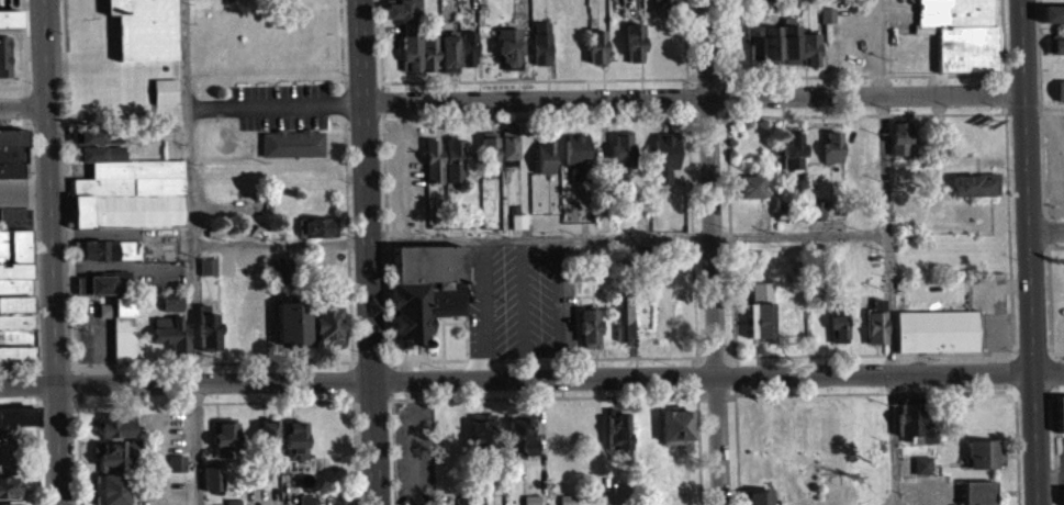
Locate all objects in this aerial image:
building: (404, 16)
building: (826, 23)
building: (1052, 23)
building: (10, 27)
building: (960, 40)
building: (634, 50)
building: (789, 50)
building: (540, 52)
building: (763, 52)
building: (1055, 53)
building: (596, 55)
building: (508, 56)
building: (467, 57)
building: (809, 58)
building: (428, 60)
building: (410, 61)
building: (447, 63)
building: (4, 65)
building: (131, 67)
road: (696, 98)
building: (1061, 100)
road: (22, 103)
road: (1046, 104)
building: (99, 145)
building: (898, 147)
building: (291, 151)
building: (831, 155)
building: (506, 157)
building: (620, 158)
building: (791, 160)
building: (11, 161)
building: (488, 161)
building: (575, 164)
building: (542, 165)
building: (664, 165)
road: (884, 165)
building: (452, 168)
building: (433, 169)
building: (974, 193)
building: (747, 195)
building: (126, 200)
building: (816, 218)
building: (14, 227)
road: (1048, 228)
building: (517, 229)
road: (867, 232)
building: (316, 235)
road: (1032, 251)
road: (49, 252)
road: (369, 252)
road: (712, 252)
building: (105, 258)
building: (206, 274)
building: (280, 277)
building: (100, 293)
building: (424, 299)
building: (14, 305)
building: (171, 313)
building: (760, 321)
building: (623, 326)
building: (119, 333)
building: (291, 333)
building: (327, 334)
building: (875, 334)
building: (589, 337)
building: (838, 337)
building: (936, 339)
building: (169, 341)
building: (208, 341)
road: (26, 362)
road: (559, 379)
road: (26, 382)
road: (27, 405)
building: (1060, 423)
building: (16, 425)
building: (912, 429)
building: (115, 434)
building: (675, 434)
building: (616, 437)
building: (482, 438)
road: (892, 439)
road: (197, 442)
building: (522, 444)
building: (225, 446)
building: (267, 446)
building: (294, 449)
building: (111, 461)
building: (983, 462)
building: (176, 472)
building: (921, 473)
building: (212, 487)
building: (111, 493)
building: (9, 495)
building: (977, 497)
building: (754, 501)
building: (305, 504)

